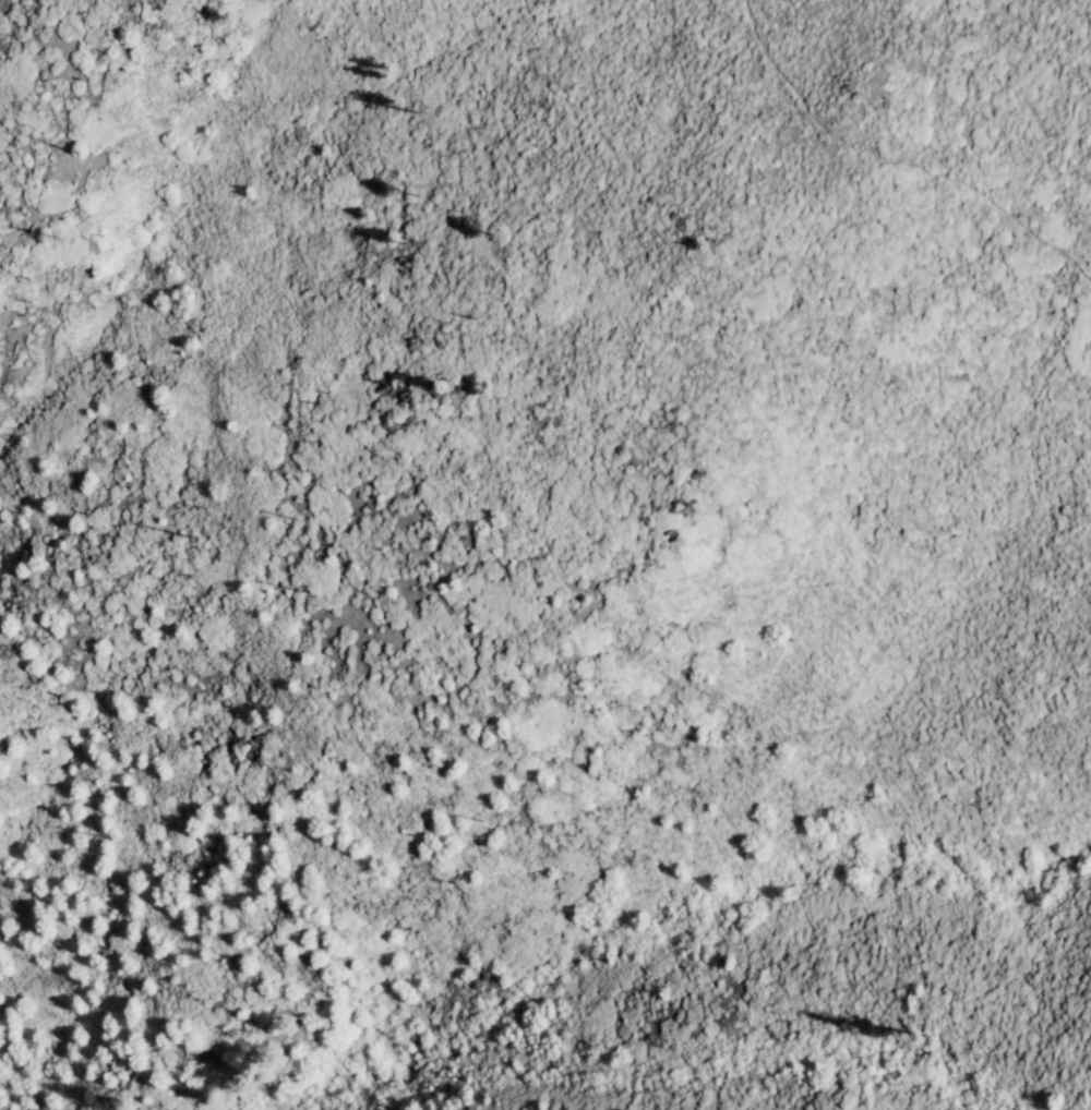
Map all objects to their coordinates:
road: (895, 160)

